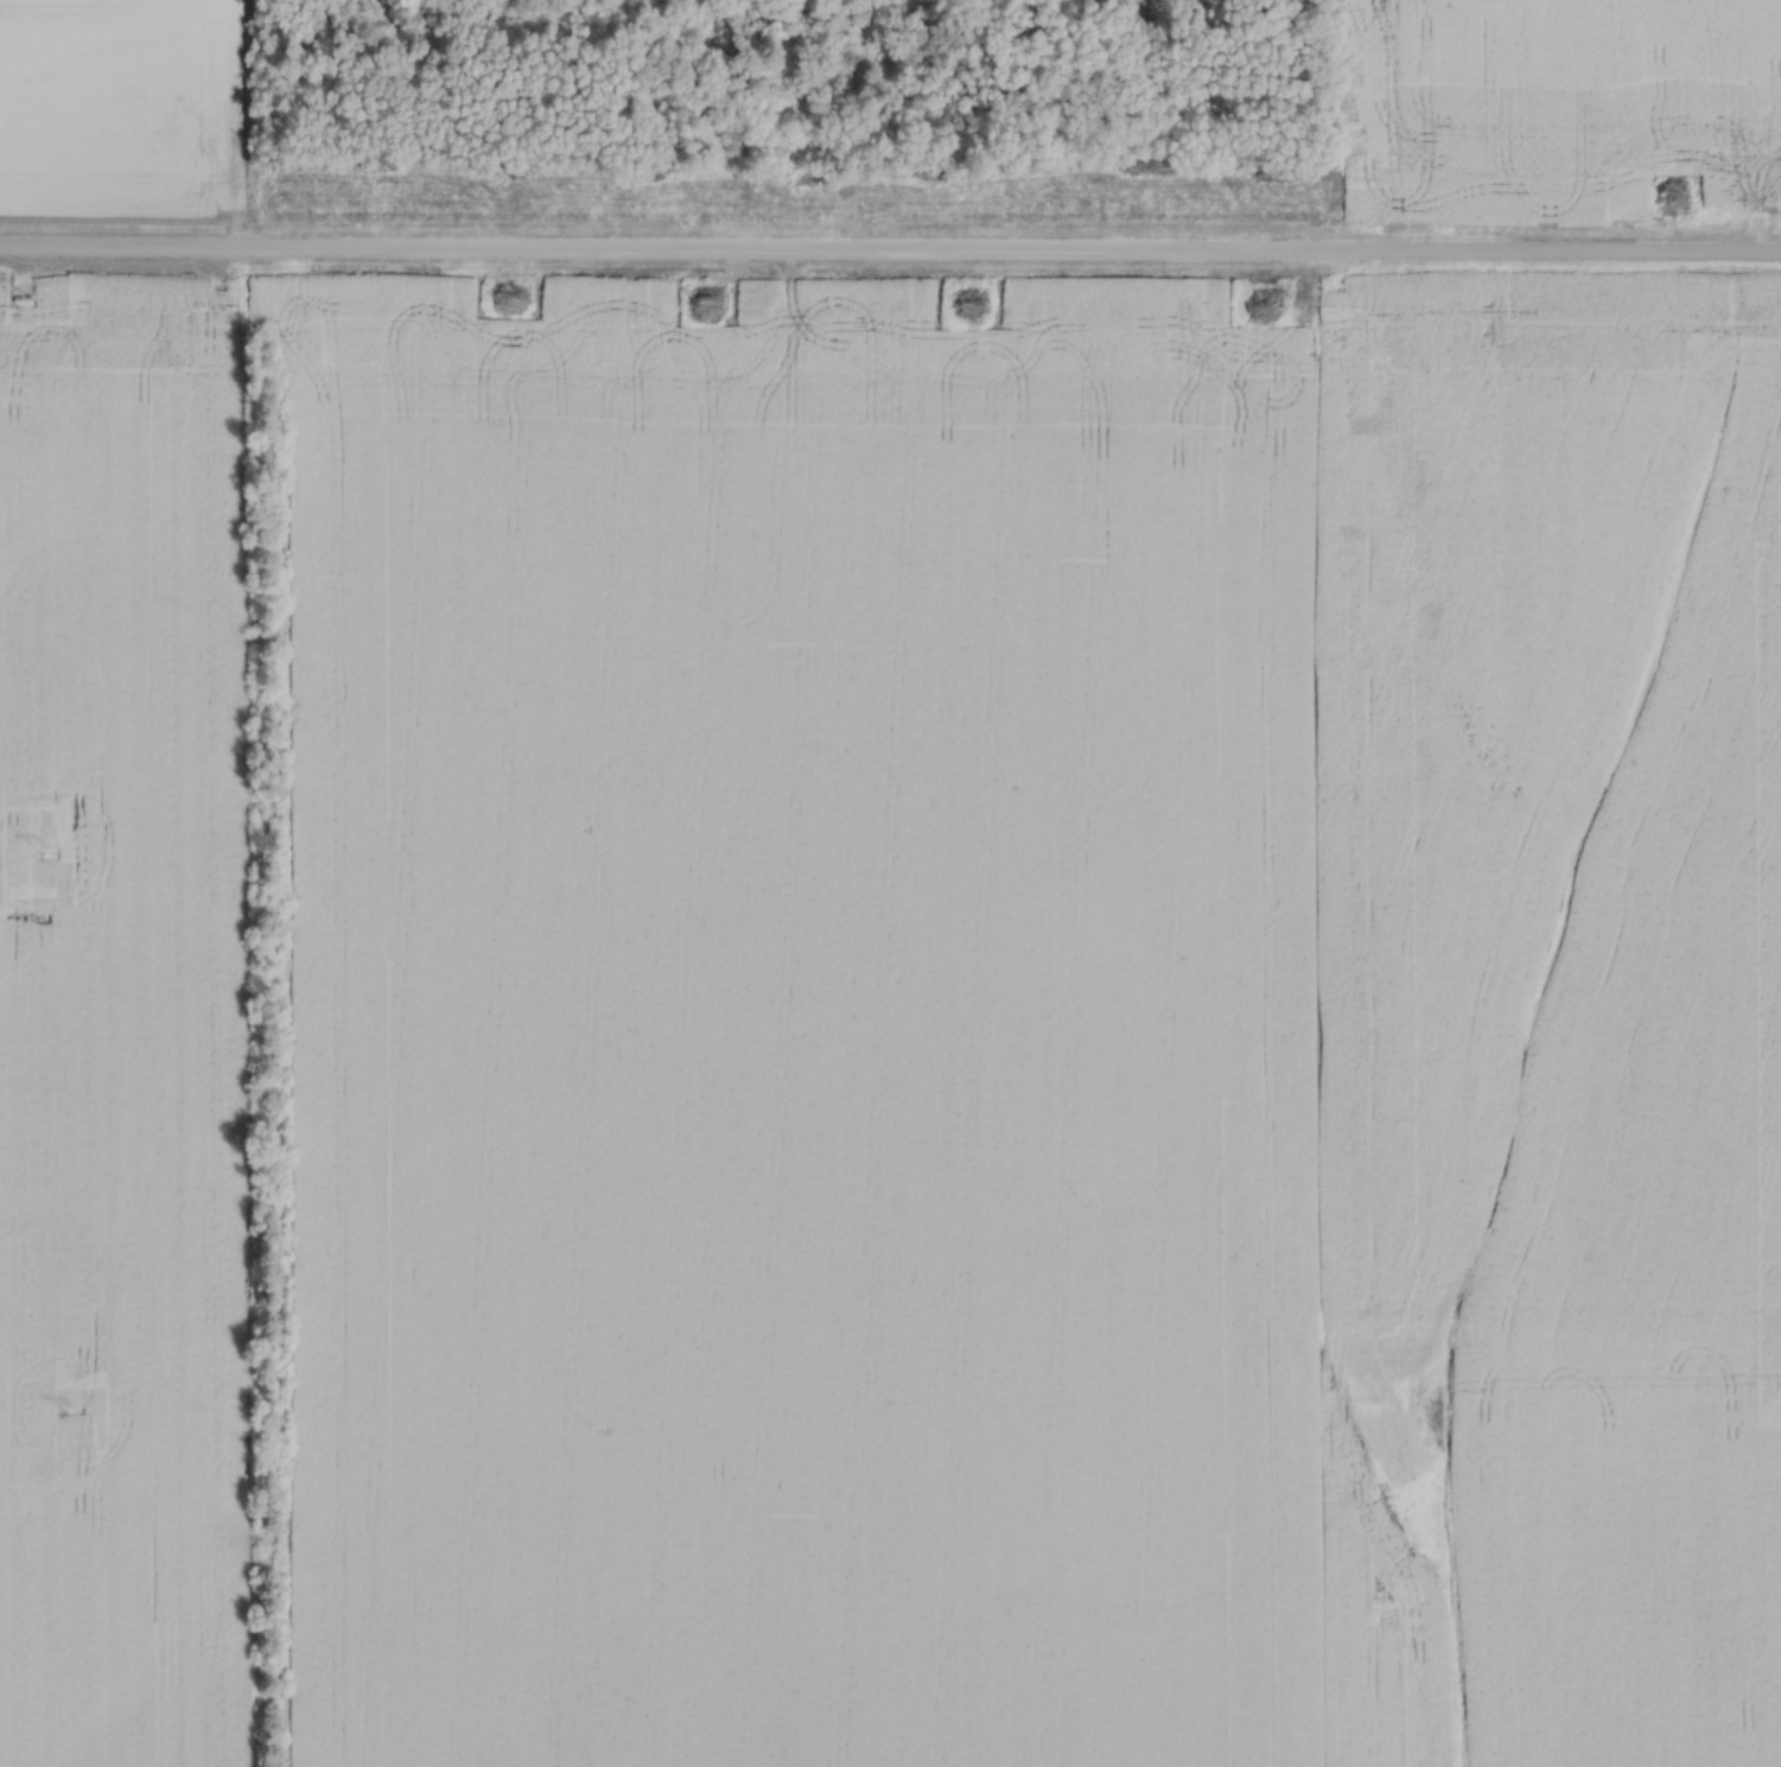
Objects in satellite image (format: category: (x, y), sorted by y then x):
road: (890, 256)
power tower: (25, 300)
power tower: (47, 852)
power tower: (72, 1412)

